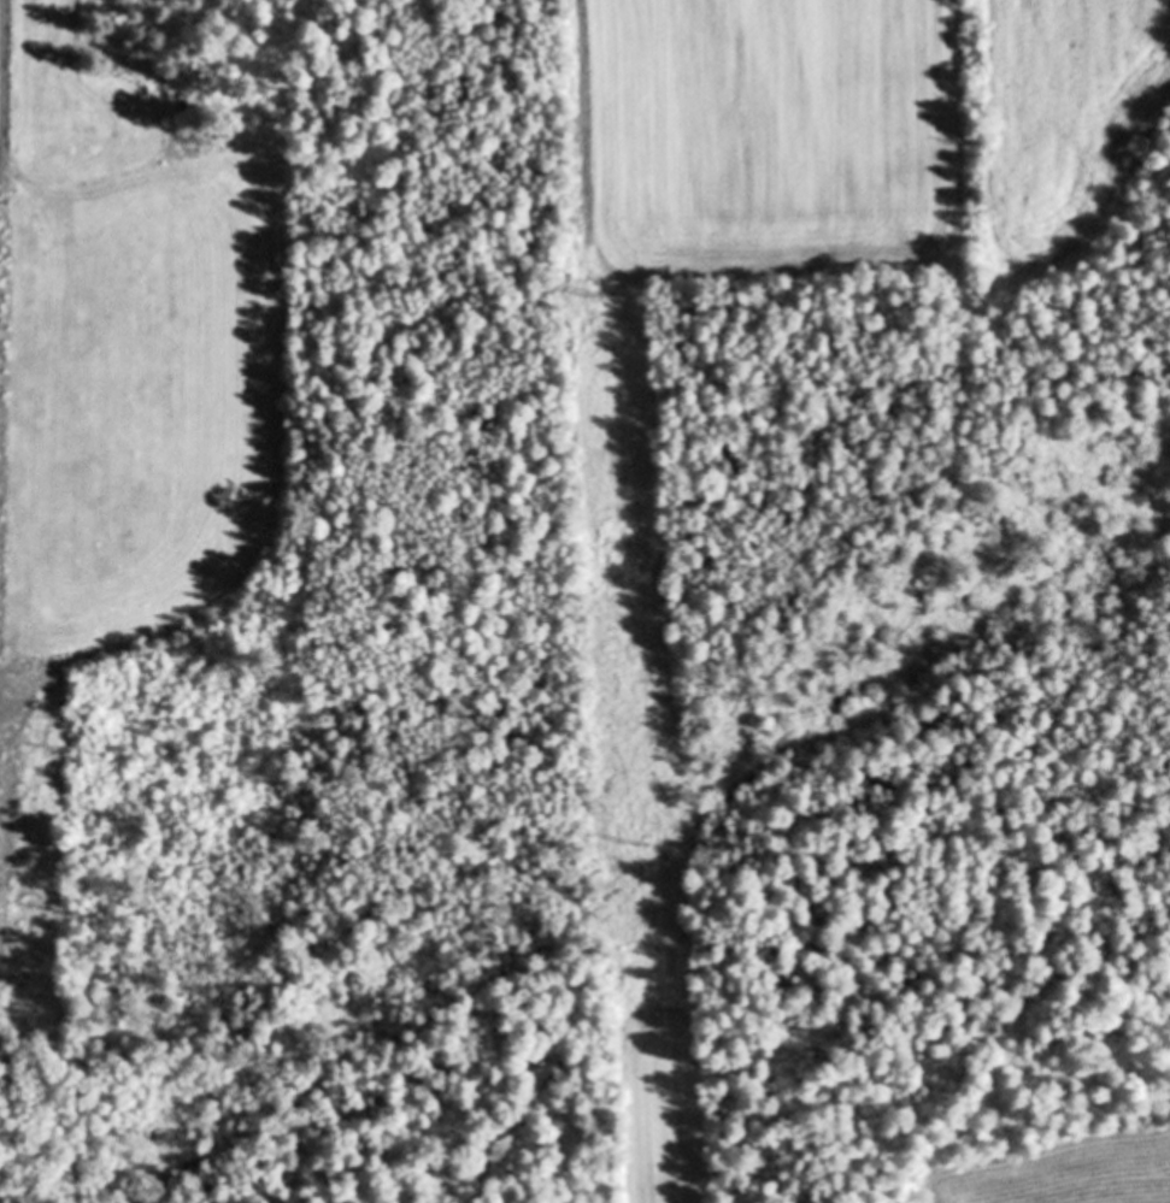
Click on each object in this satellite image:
road: (2, 83)
road: (583, 129)
power tower: (613, 295)
power tower: (647, 843)

